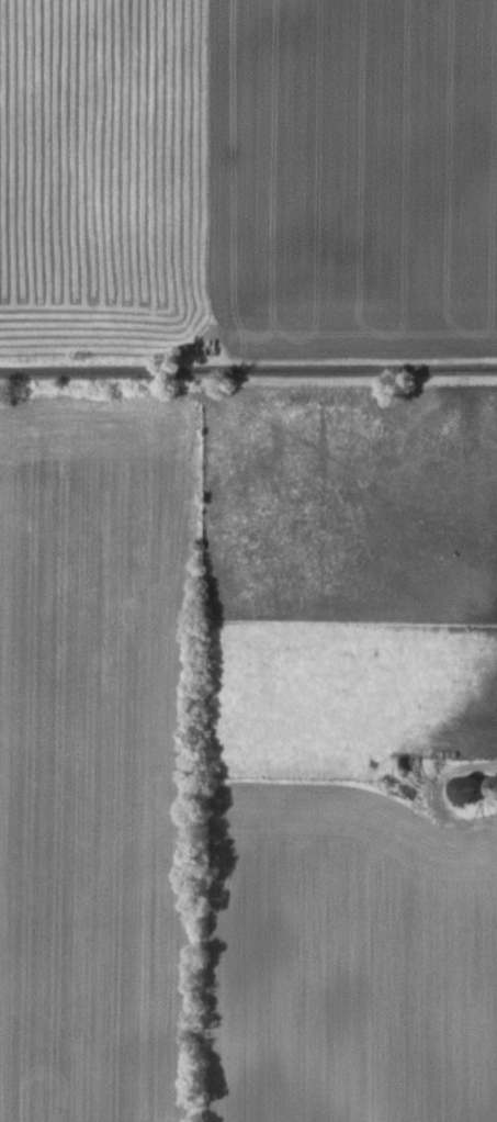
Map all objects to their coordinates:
road: (248, 372)
building: (492, 788)
building: (465, 789)

